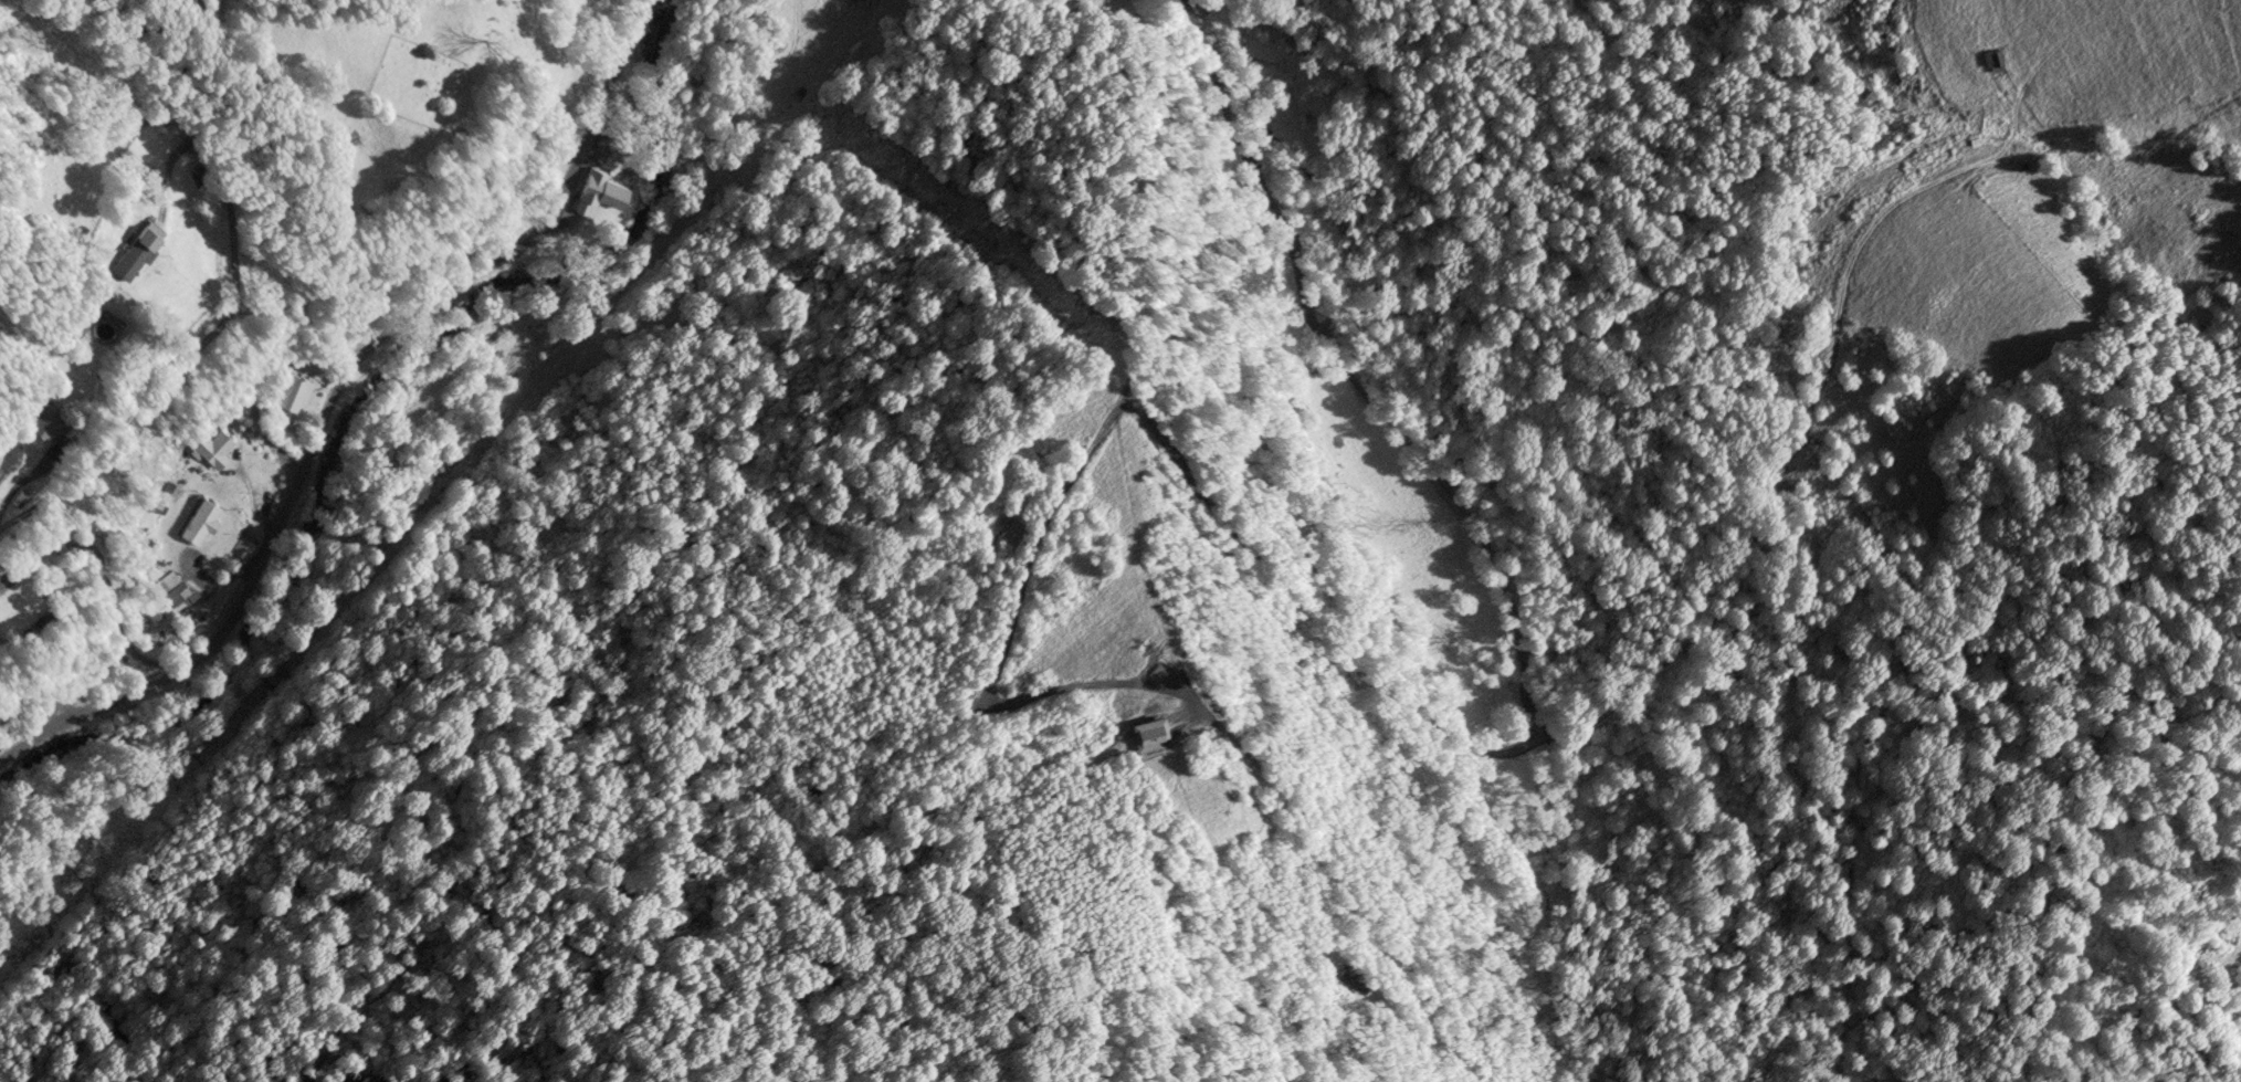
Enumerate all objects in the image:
building: (1991, 61)
building: (1978, 145)
building: (603, 192)
building: (136, 255)
building: (288, 397)
road: (337, 399)
building: (234, 400)
building: (42, 421)
building: (213, 451)
building: (198, 523)
building: (245, 548)
road: (104, 582)
road: (1, 587)
building: (170, 590)
building: (45, 626)
road: (1556, 739)

